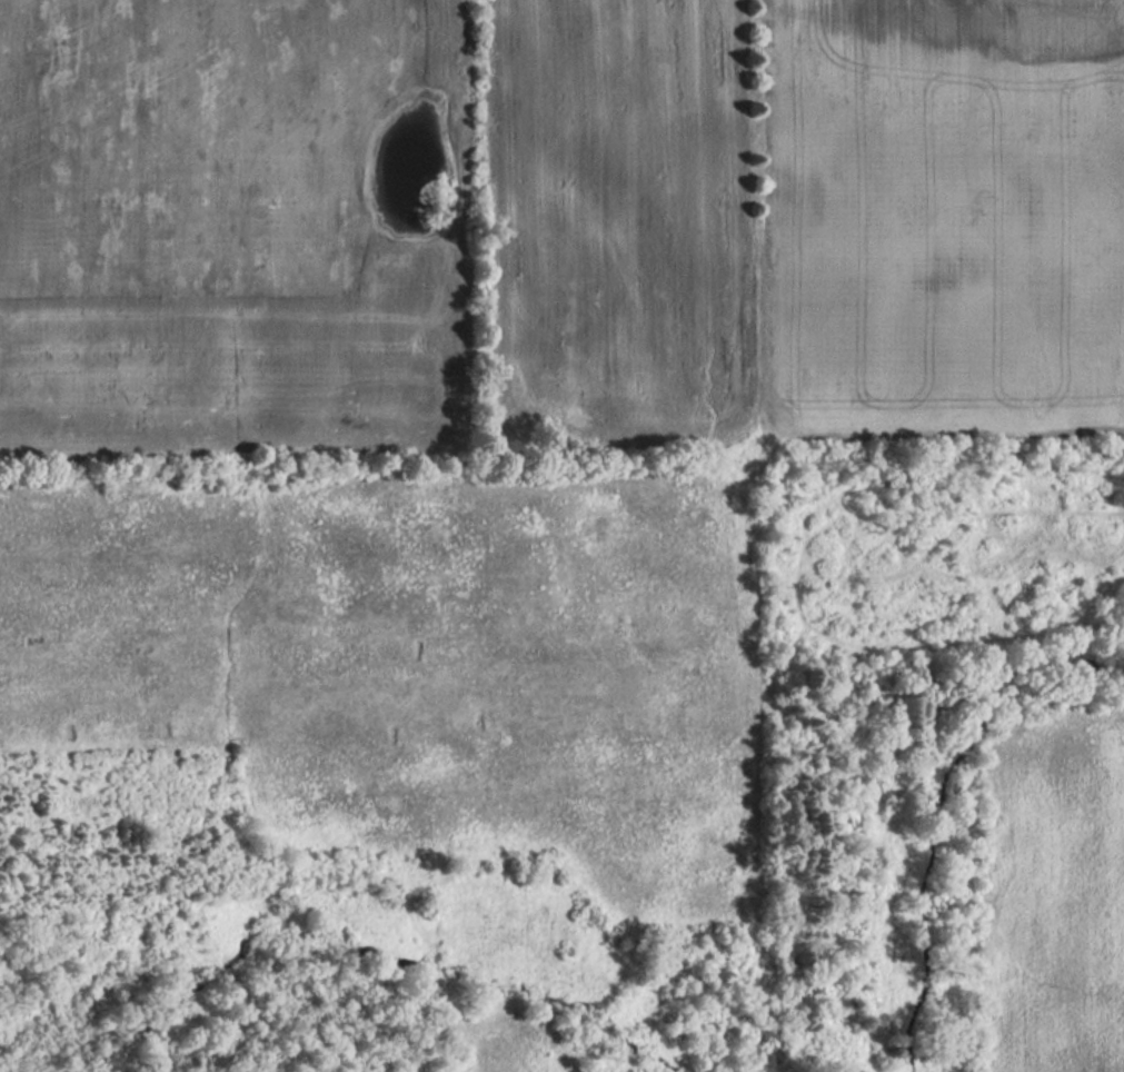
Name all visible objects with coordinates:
crop: (933, 206)
crop: (618, 217)
crop: (230, 224)

